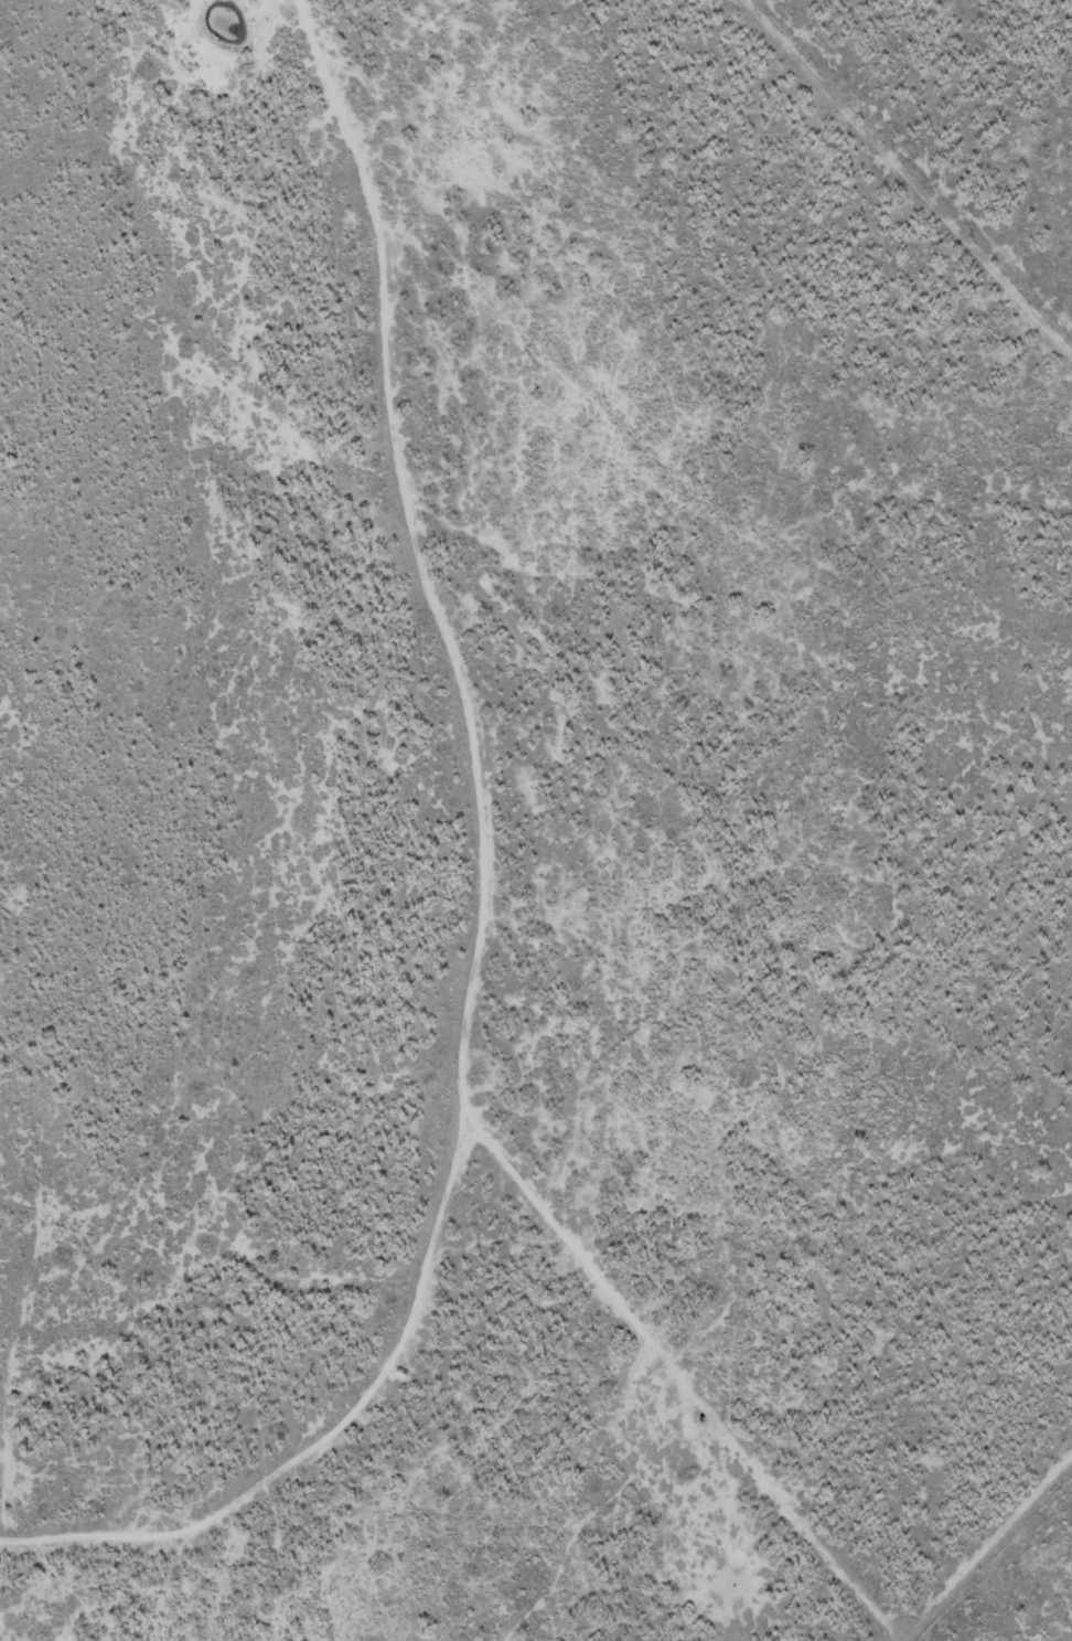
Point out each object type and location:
road: (628, 423)
road: (479, 1008)

